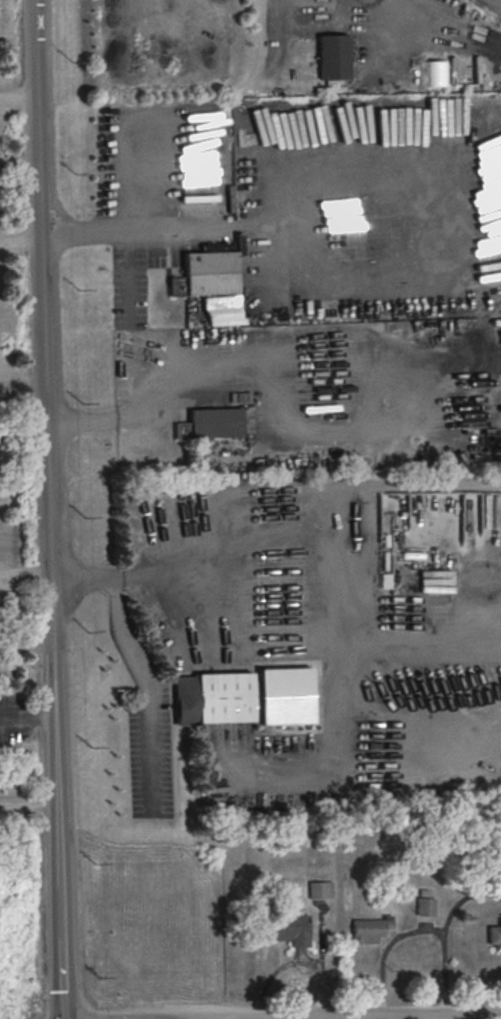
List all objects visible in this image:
building: (333, 56)
building: (435, 73)
road: (20, 96)
road: (353, 156)
road: (141, 169)
road: (219, 217)
road: (22, 234)
building: (206, 274)
road: (260, 387)
building: (210, 423)
road: (49, 465)
road: (279, 524)
road: (147, 684)
building: (246, 696)
road: (27, 718)
parking lot: (149, 749)
building: (320, 889)
building: (425, 906)
building: (287, 928)
building: (370, 929)
road: (441, 929)
building: (494, 934)
road: (383, 948)
road: (61, 975)
road: (385, 1011)
road: (228, 1016)
road: (302, 1016)
road: (176, 1018)
road: (187, 1018)

